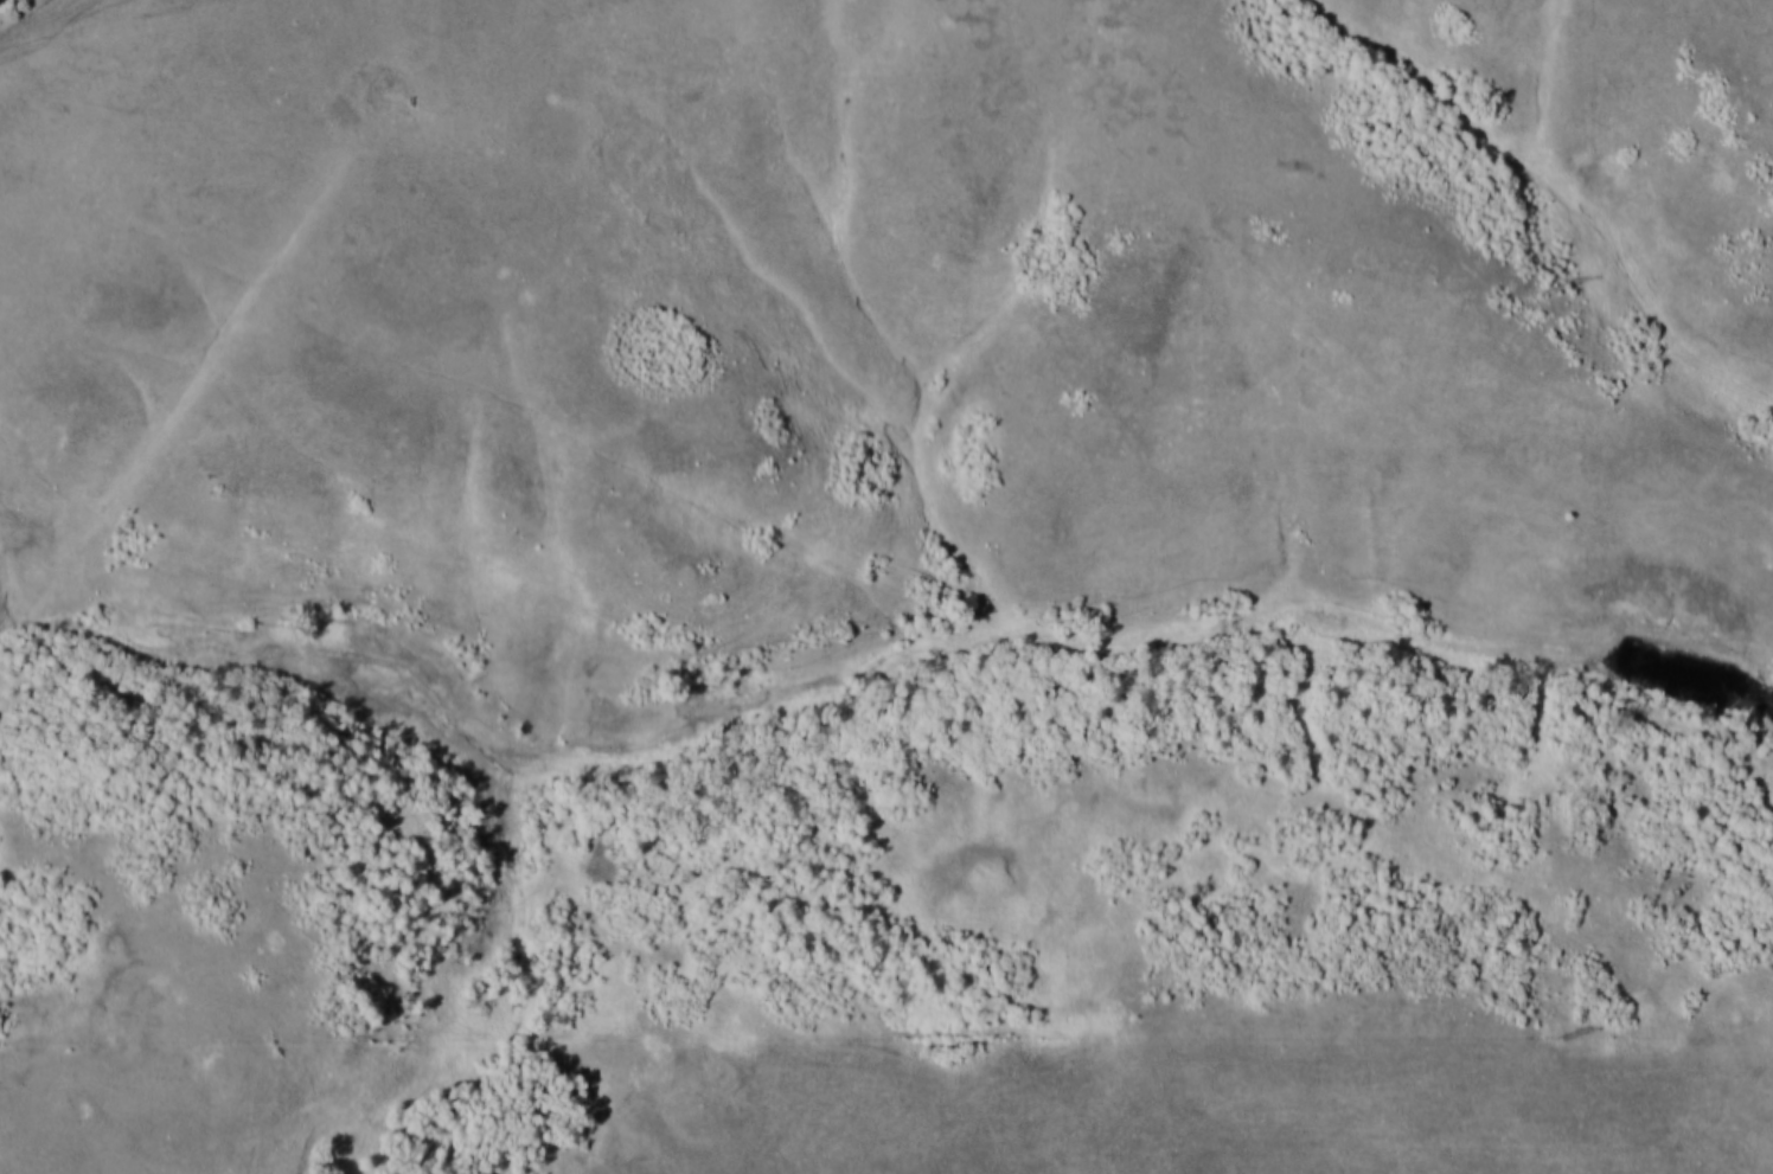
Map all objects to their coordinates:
power tower: (1553, 296)
power tower: (1567, 1039)

